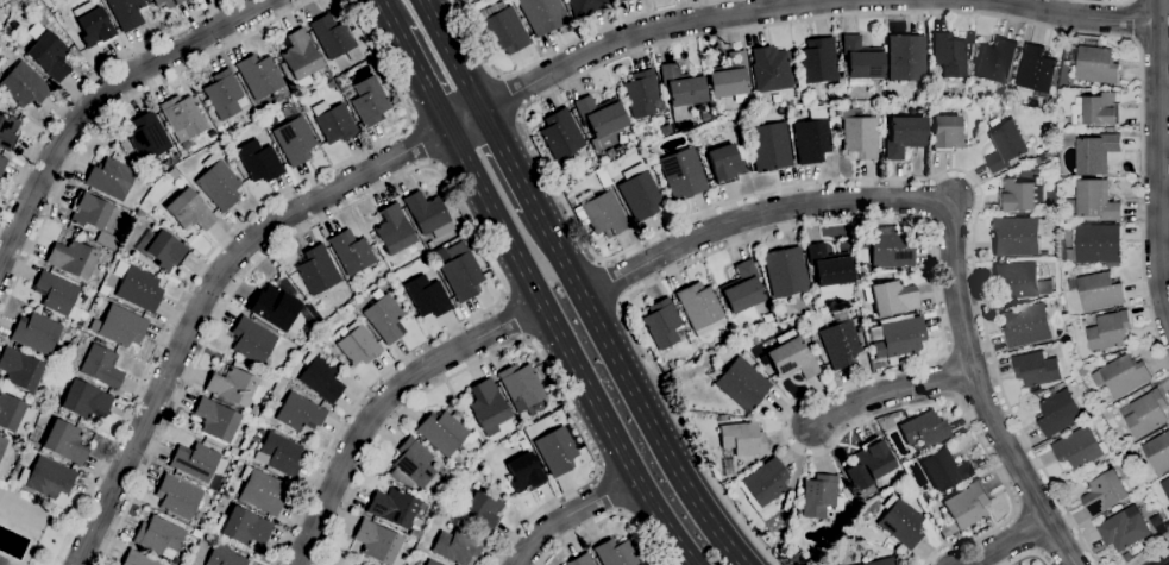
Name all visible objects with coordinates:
building: (615, 1)
building: (166, 2)
road: (1100, 2)
building: (585, 6)
building: (127, 12)
building: (542, 14)
road: (1070, 15)
road: (390, 17)
road: (1131, 20)
building: (94, 25)
building: (502, 27)
building: (332, 36)
road: (629, 37)
building: (1091, 42)
road: (568, 45)
building: (19, 46)
building: (50, 55)
road: (453, 55)
building: (949, 55)
building: (905, 57)
building: (298, 58)
building: (818, 59)
building: (275, 61)
building: (861, 61)
building: (995, 61)
building: (1094, 64)
building: (771, 68)
building: (1036, 70)
building: (259, 75)
building: (328, 75)
building: (729, 76)
road: (425, 80)
road: (84, 81)
building: (331, 83)
building: (24, 84)
building: (681, 89)
building: (642, 93)
building: (222, 94)
road: (508, 95)
road: (98, 96)
building: (369, 100)
building: (1101, 109)
building: (260, 111)
road: (111, 112)
building: (599, 115)
building: (705, 115)
building: (182, 117)
road: (522, 120)
building: (334, 121)
building: (665, 130)
building: (1110, 130)
building: (7, 132)
building: (945, 132)
building: (560, 133)
building: (857, 133)
building: (904, 134)
building: (147, 136)
building: (811, 136)
building: (295, 139)
building: (122, 144)
building: (769, 146)
building: (1005, 146)
building: (1095, 153)
building: (1050, 155)
road: (508, 158)
building: (1039, 158)
road: (1158, 158)
building: (258, 159)
building: (228, 161)
building: (2, 162)
building: (724, 163)
road: (420, 169)
building: (172, 172)
building: (681, 174)
building: (109, 177)
building: (603, 177)
building: (218, 182)
building: (639, 192)
building: (1019, 194)
road: (951, 201)
building: (1094, 201)
building: (145, 205)
building: (187, 209)
building: (90, 211)
building: (138, 212)
building: (428, 214)
building: (602, 214)
building: (394, 230)
building: (1017, 236)
road: (219, 243)
building: (430, 244)
building: (1095, 245)
building: (161, 249)
building: (891, 249)
building: (351, 252)
building: (1043, 255)
building: (71, 258)
building: (829, 266)
building: (316, 269)
building: (785, 271)
building: (461, 275)
building: (1020, 280)
road: (611, 282)
building: (136, 284)
road: (936, 285)
building: (741, 288)
building: (102, 289)
building: (1098, 291)
building: (56, 293)
building: (404, 294)
road: (207, 295)
building: (427, 296)
building: (891, 296)
building: (276, 303)
building: (700, 308)
building: (384, 315)
road: (514, 316)
building: (794, 320)
building: (662, 322)
building: (856, 324)
building: (121, 325)
building: (1025, 325)
building: (1108, 331)
building: (36, 332)
building: (895, 338)
building: (99, 340)
building: (252, 340)
building: (815, 340)
building: (840, 340)
building: (356, 343)
road: (515, 343)
road: (566, 349)
building: (791, 356)
building: (1115, 356)
building: (337, 362)
building: (671, 365)
building: (101, 366)
building: (20, 369)
building: (1036, 369)
building: (1124, 375)
building: (320, 376)
building: (740, 382)
building: (233, 385)
building: (521, 385)
road: (633, 389)
road: (890, 389)
building: (1036, 391)
building: (83, 400)
road: (385, 402)
building: (488, 406)
building: (253, 409)
building: (10, 412)
building: (298, 412)
building: (1057, 413)
building: (1145, 413)
building: (722, 418)
building: (216, 420)
building: (924, 428)
building: (445, 433)
building: (65, 441)
building: (740, 442)
building: (2, 444)
building: (1079, 448)
building: (557, 451)
building: (1158, 452)
building: (278, 454)
building: (873, 457)
building: (196, 460)
building: (411, 464)
building: (945, 469)
building: (524, 472)
building: (46, 478)
building: (765, 483)
building: (1165, 486)
building: (260, 490)
building: (1105, 494)
building: (178, 496)
building: (821, 496)
building: (926, 498)
building: (44, 504)
building: (964, 507)
building: (396, 508)
building: (480, 509)
road: (571, 514)
road: (608, 519)
building: (900, 521)
building: (241, 528)
building: (1123, 531)
building: (196, 533)
building: (159, 536)
building: (376, 541)
road: (1006, 542)
building: (457, 546)
road: (1146, 550)
building: (615, 553)
road: (1029, 554)
building: (224, 555)
building: (792, 555)
building: (1127, 557)
building: (138, 559)
building: (580, 560)
building: (2, 561)
building: (880, 561)
building: (432, 563)
building: (354, 564)
building: (357, 564)

